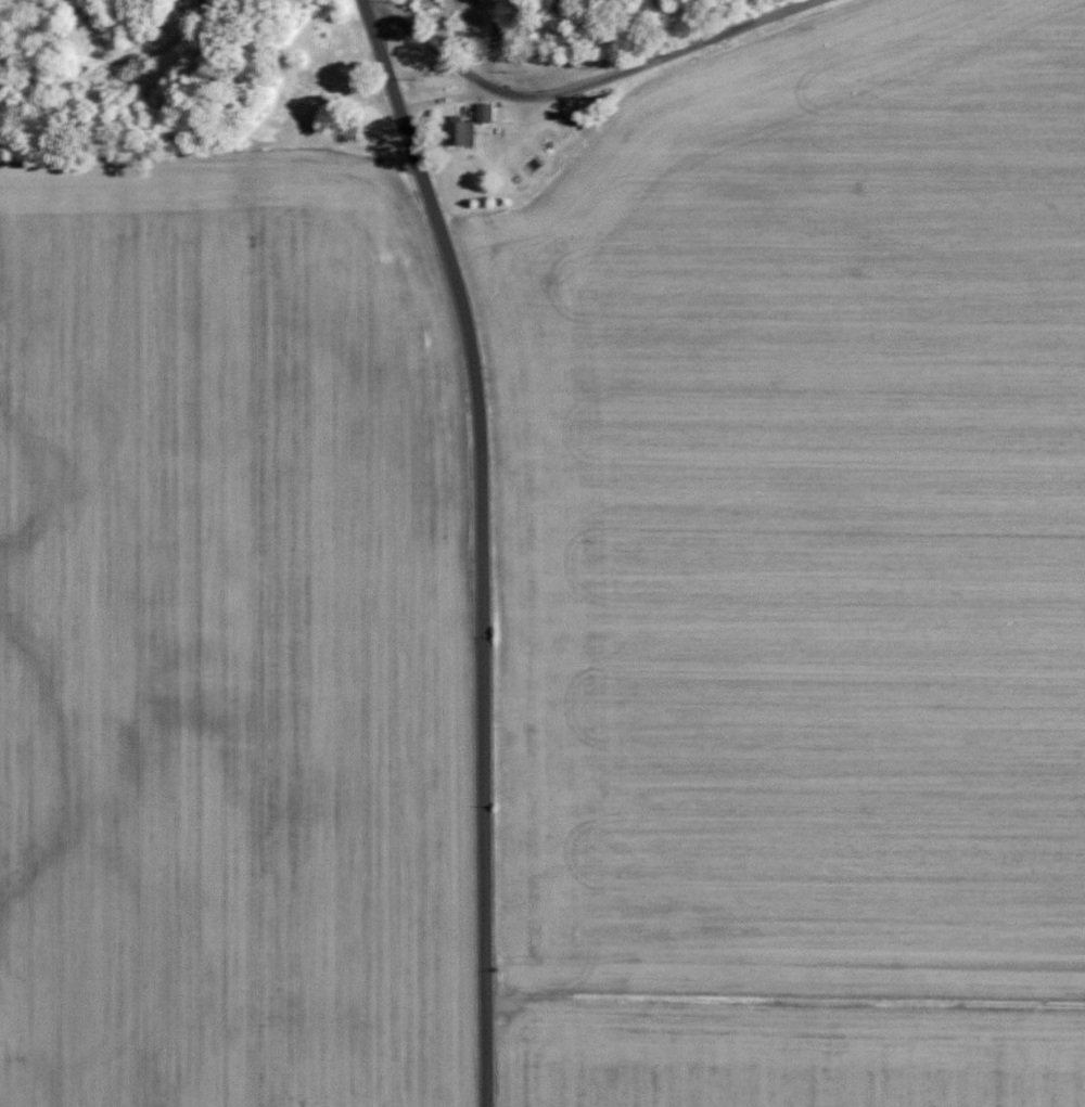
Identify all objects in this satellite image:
road: (496, 41)
road: (587, 88)
road: (452, 105)
building: (484, 111)
building: (461, 131)
road: (483, 543)

